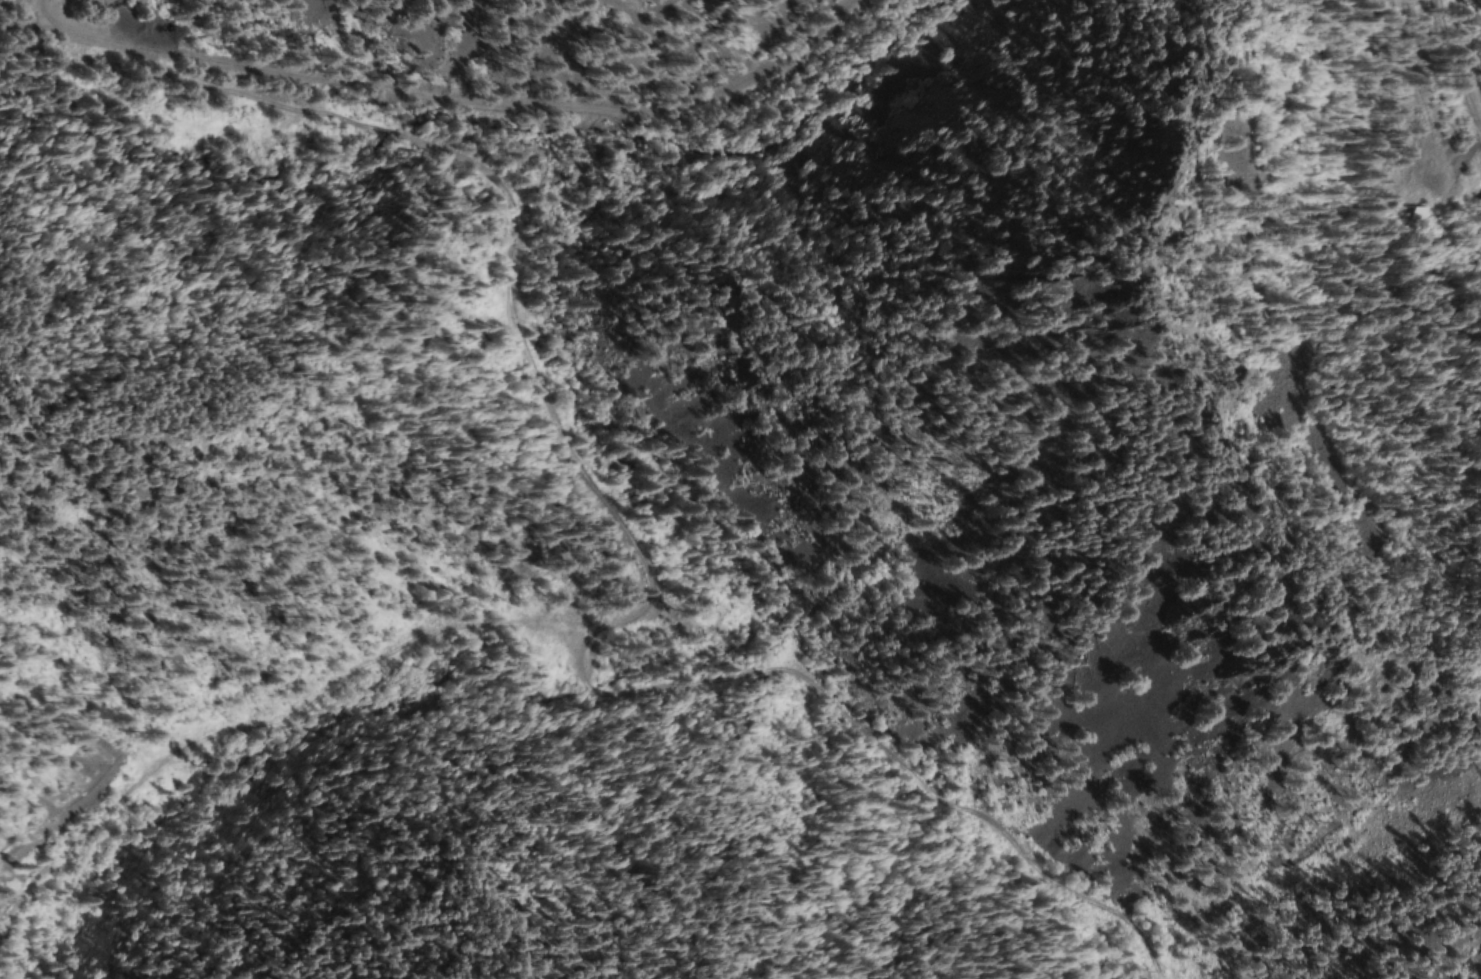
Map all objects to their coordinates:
road: (446, 99)
building: (1416, 214)

